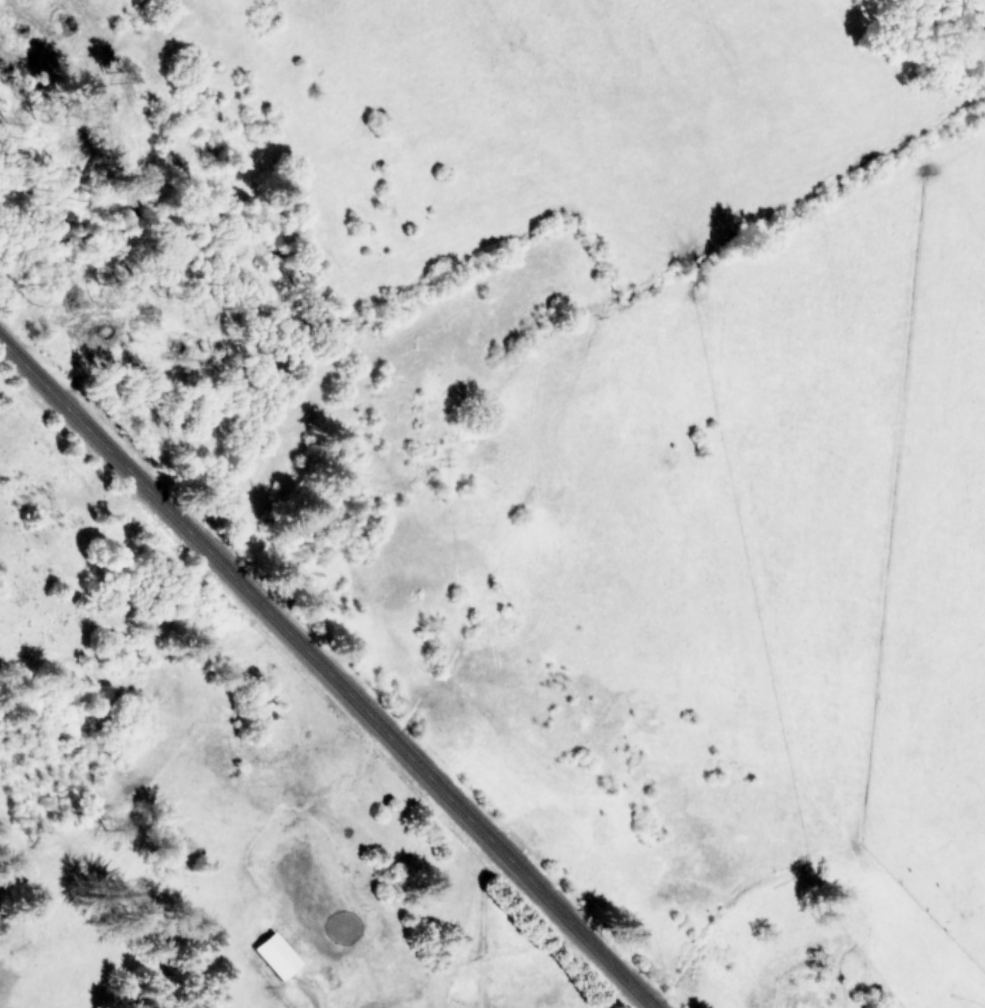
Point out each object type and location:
crop: (750, 617)
road: (329, 674)
building: (277, 954)

